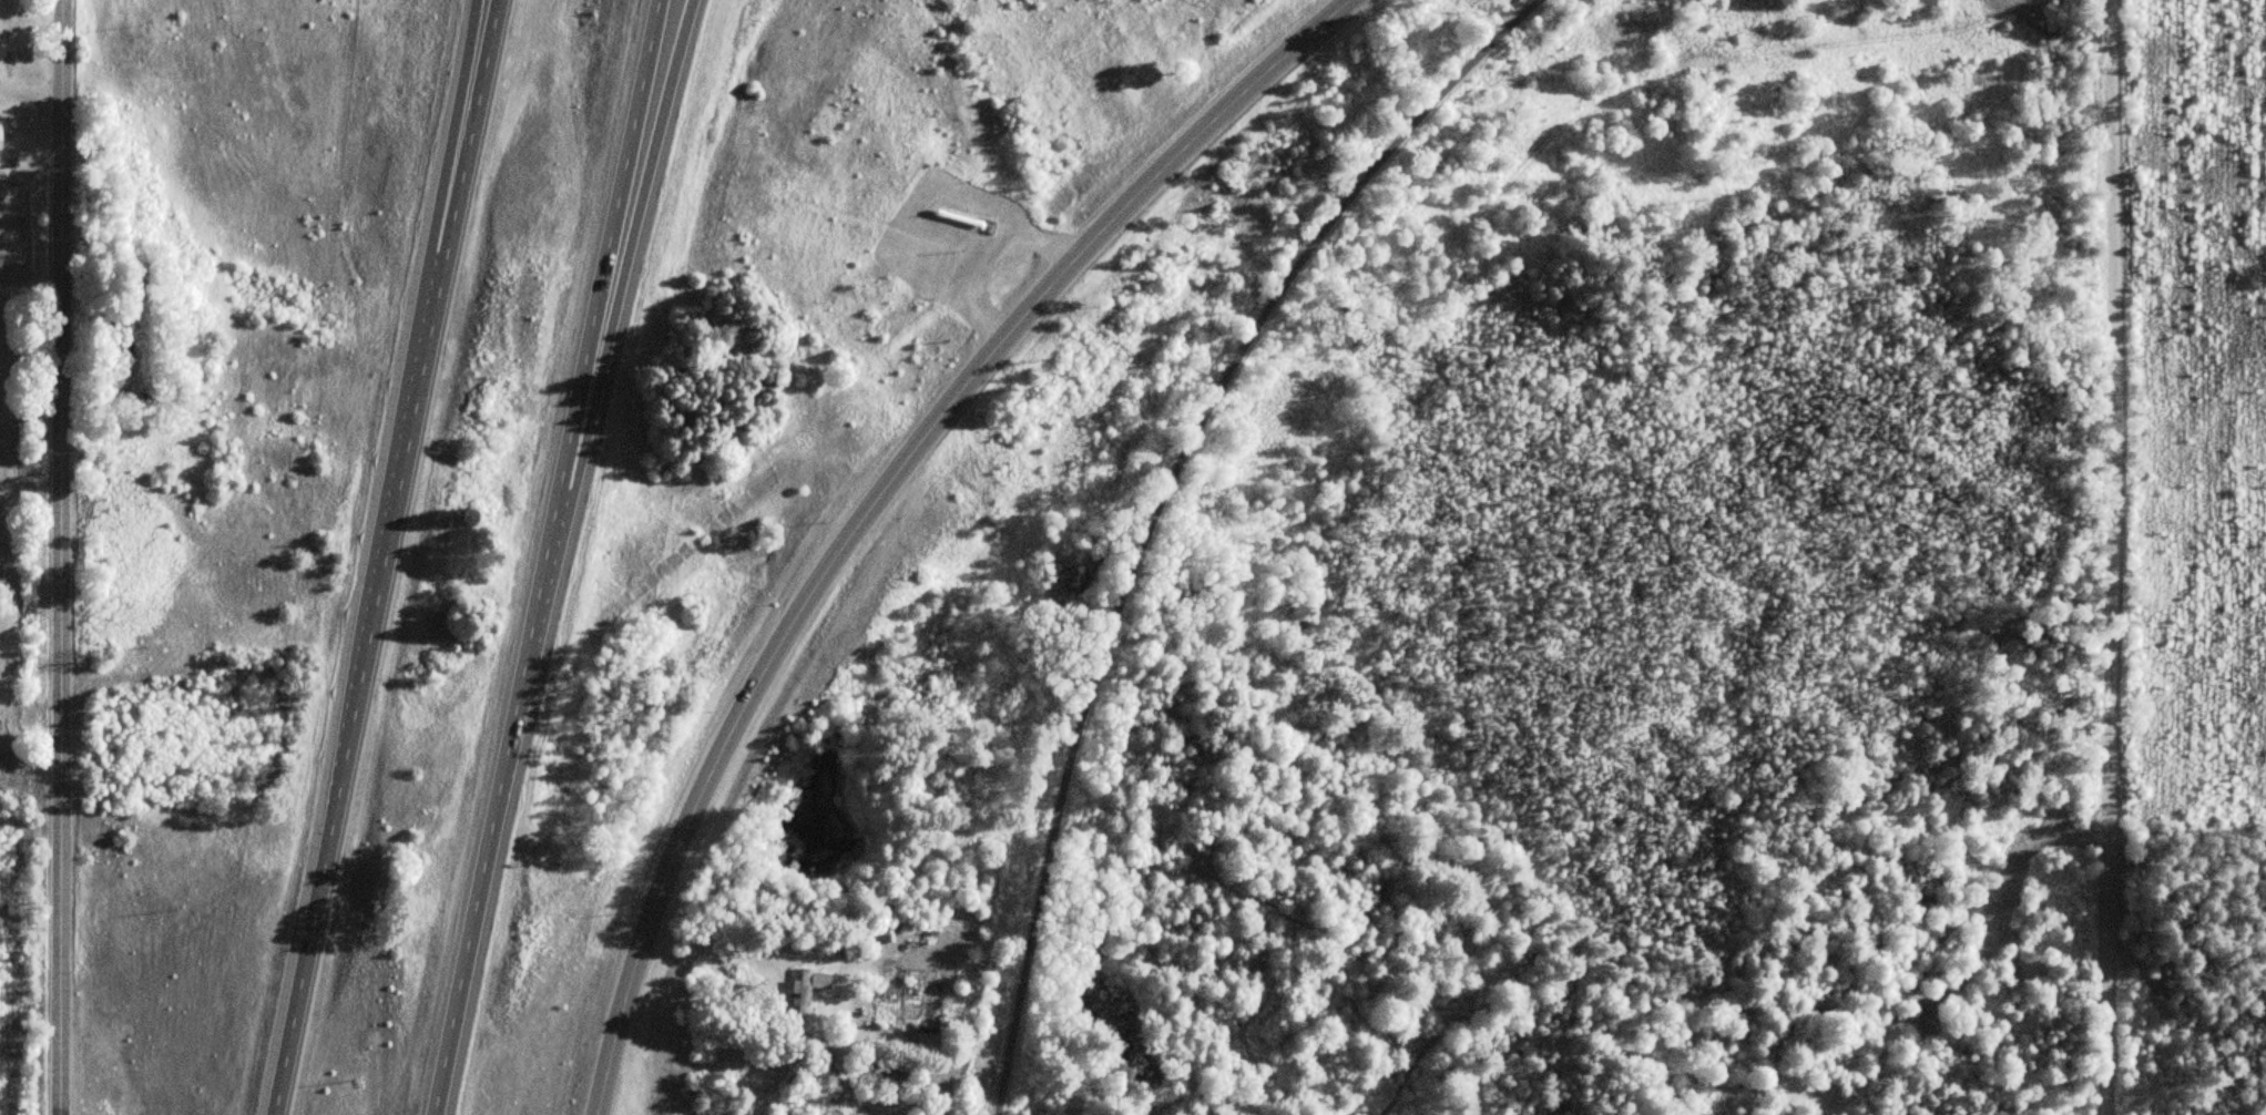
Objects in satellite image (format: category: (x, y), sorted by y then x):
road: (451, 136)
road: (632, 236)
road: (879, 494)
road: (1164, 510)
road: (545, 556)
road: (59, 557)
road: (386, 557)
road: (2112, 557)
building: (851, 945)
building: (809, 988)

